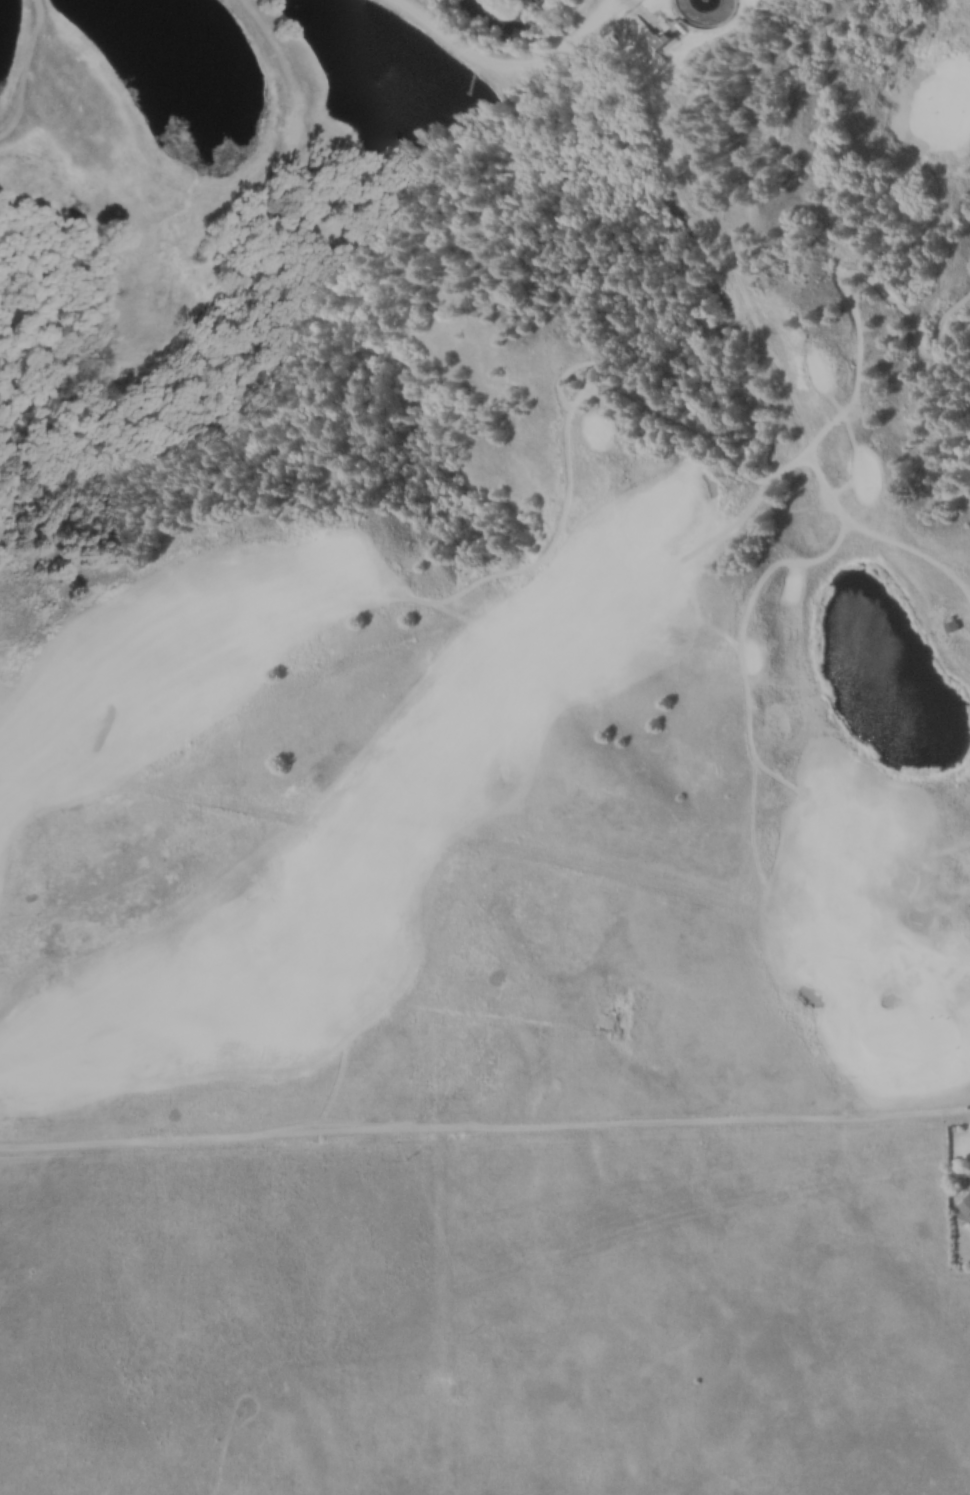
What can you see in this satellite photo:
road: (606, 8)
road: (616, 8)
road: (500, 65)
building: (966, 1205)

